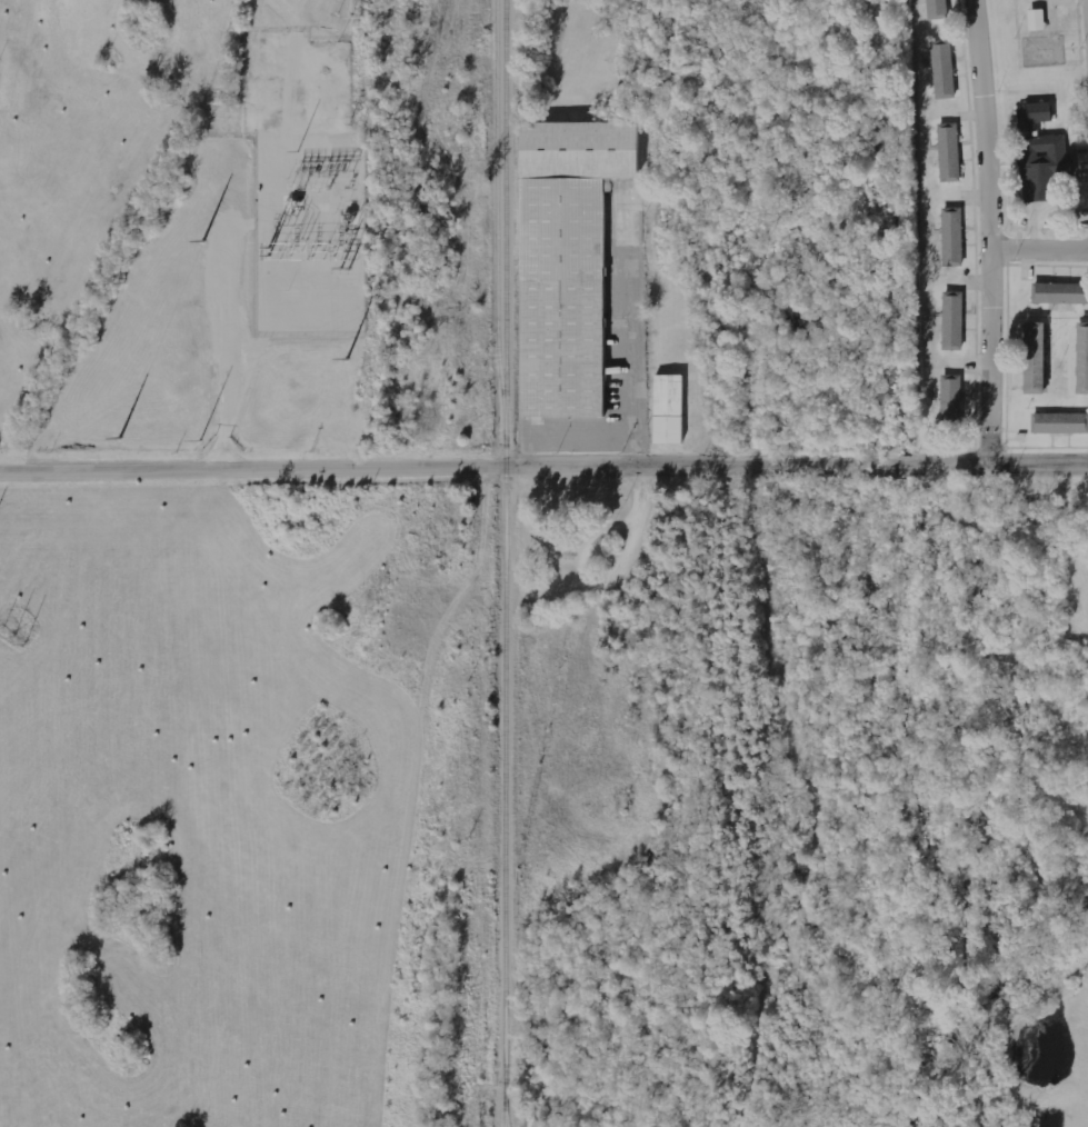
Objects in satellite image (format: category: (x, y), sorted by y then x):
road: (972, 3)
building: (936, 9)
building: (1036, 19)
building: (942, 68)
building: (1032, 116)
building: (949, 152)
building: (1042, 164)
power substation: (303, 183)
road: (986, 235)
building: (951, 237)
road: (1037, 251)
building: (566, 261)
building: (1058, 293)
building: (952, 320)
building: (1032, 358)
building: (1081, 358)
building: (951, 398)
building: (668, 409)
building: (1059, 423)
power tower: (121, 433)
road: (543, 466)
railway: (502, 549)
railway: (503, 1113)
railway: (506, 1113)

